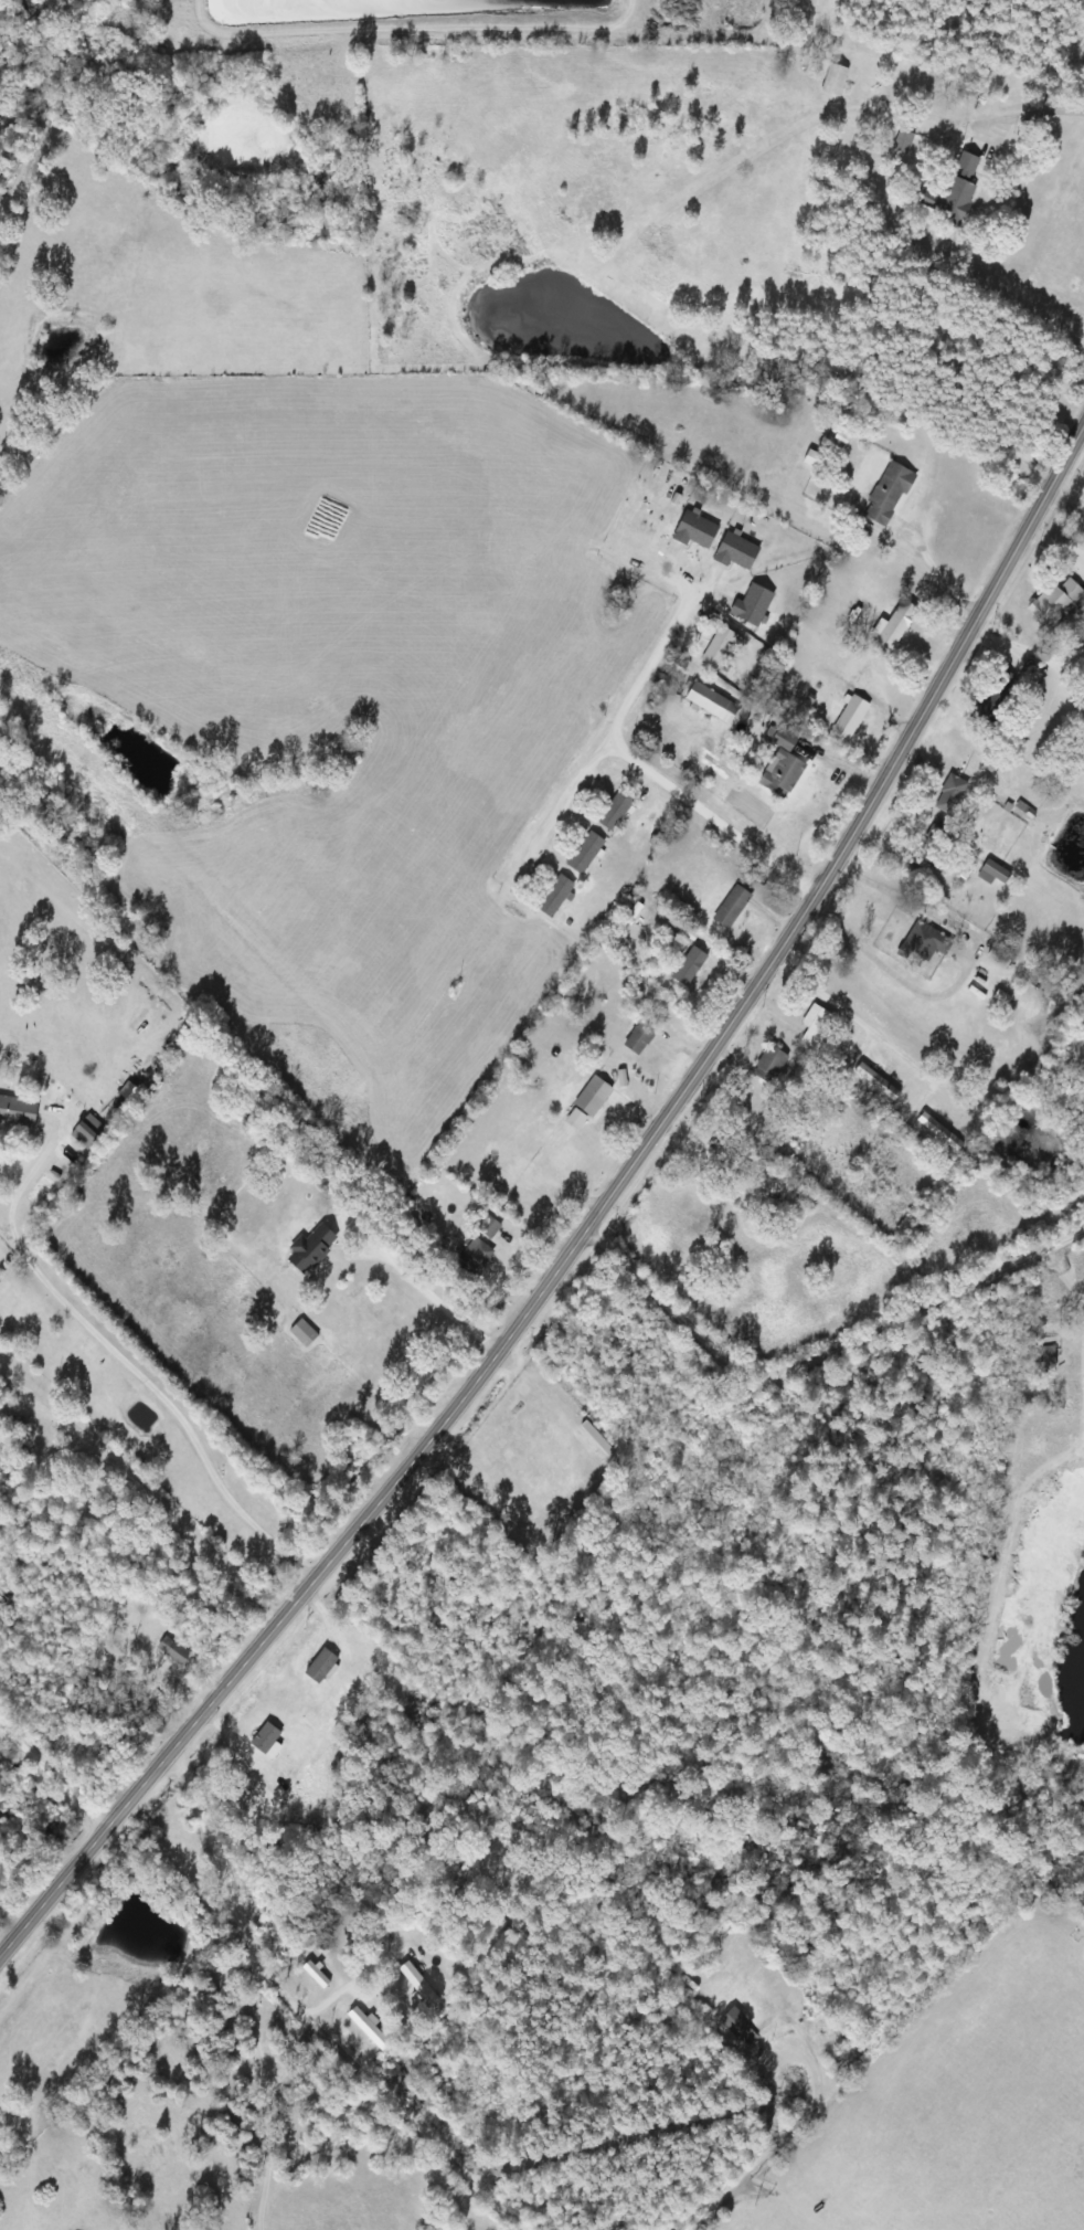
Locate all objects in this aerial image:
wastewater plant: (384, 24)
building: (836, 81)
road: (961, 123)
building: (904, 142)
building: (968, 165)
building: (950, 200)
road: (1083, 436)
building: (889, 495)
building: (695, 532)
building: (737, 553)
building: (1055, 604)
building: (753, 607)
building: (894, 627)
building: (719, 649)
building: (712, 705)
building: (850, 719)
road: (614, 734)
building: (783, 768)
building: (952, 797)
building: (616, 812)
road: (712, 818)
building: (586, 855)
building: (993, 875)
building: (555, 898)
building: (732, 909)
building: (924, 945)
building: (1001, 955)
building: (690, 970)
building: (817, 1027)
building: (639, 1040)
building: (769, 1065)
building: (878, 1084)
building: (593, 1098)
building: (13, 1105)
building: (576, 1121)
building: (88, 1133)
building: (489, 1228)
road: (592, 1230)
building: (311, 1250)
building: (478, 1256)
building: (304, 1334)
road: (821, 1352)
building: (1048, 1360)
building: (174, 1652)
building: (322, 1668)
building: (317, 1977)
building: (419, 1986)
road: (301, 2022)
building: (370, 2029)
building: (740, 2029)
road: (763, 2168)
road: (447, 2195)

